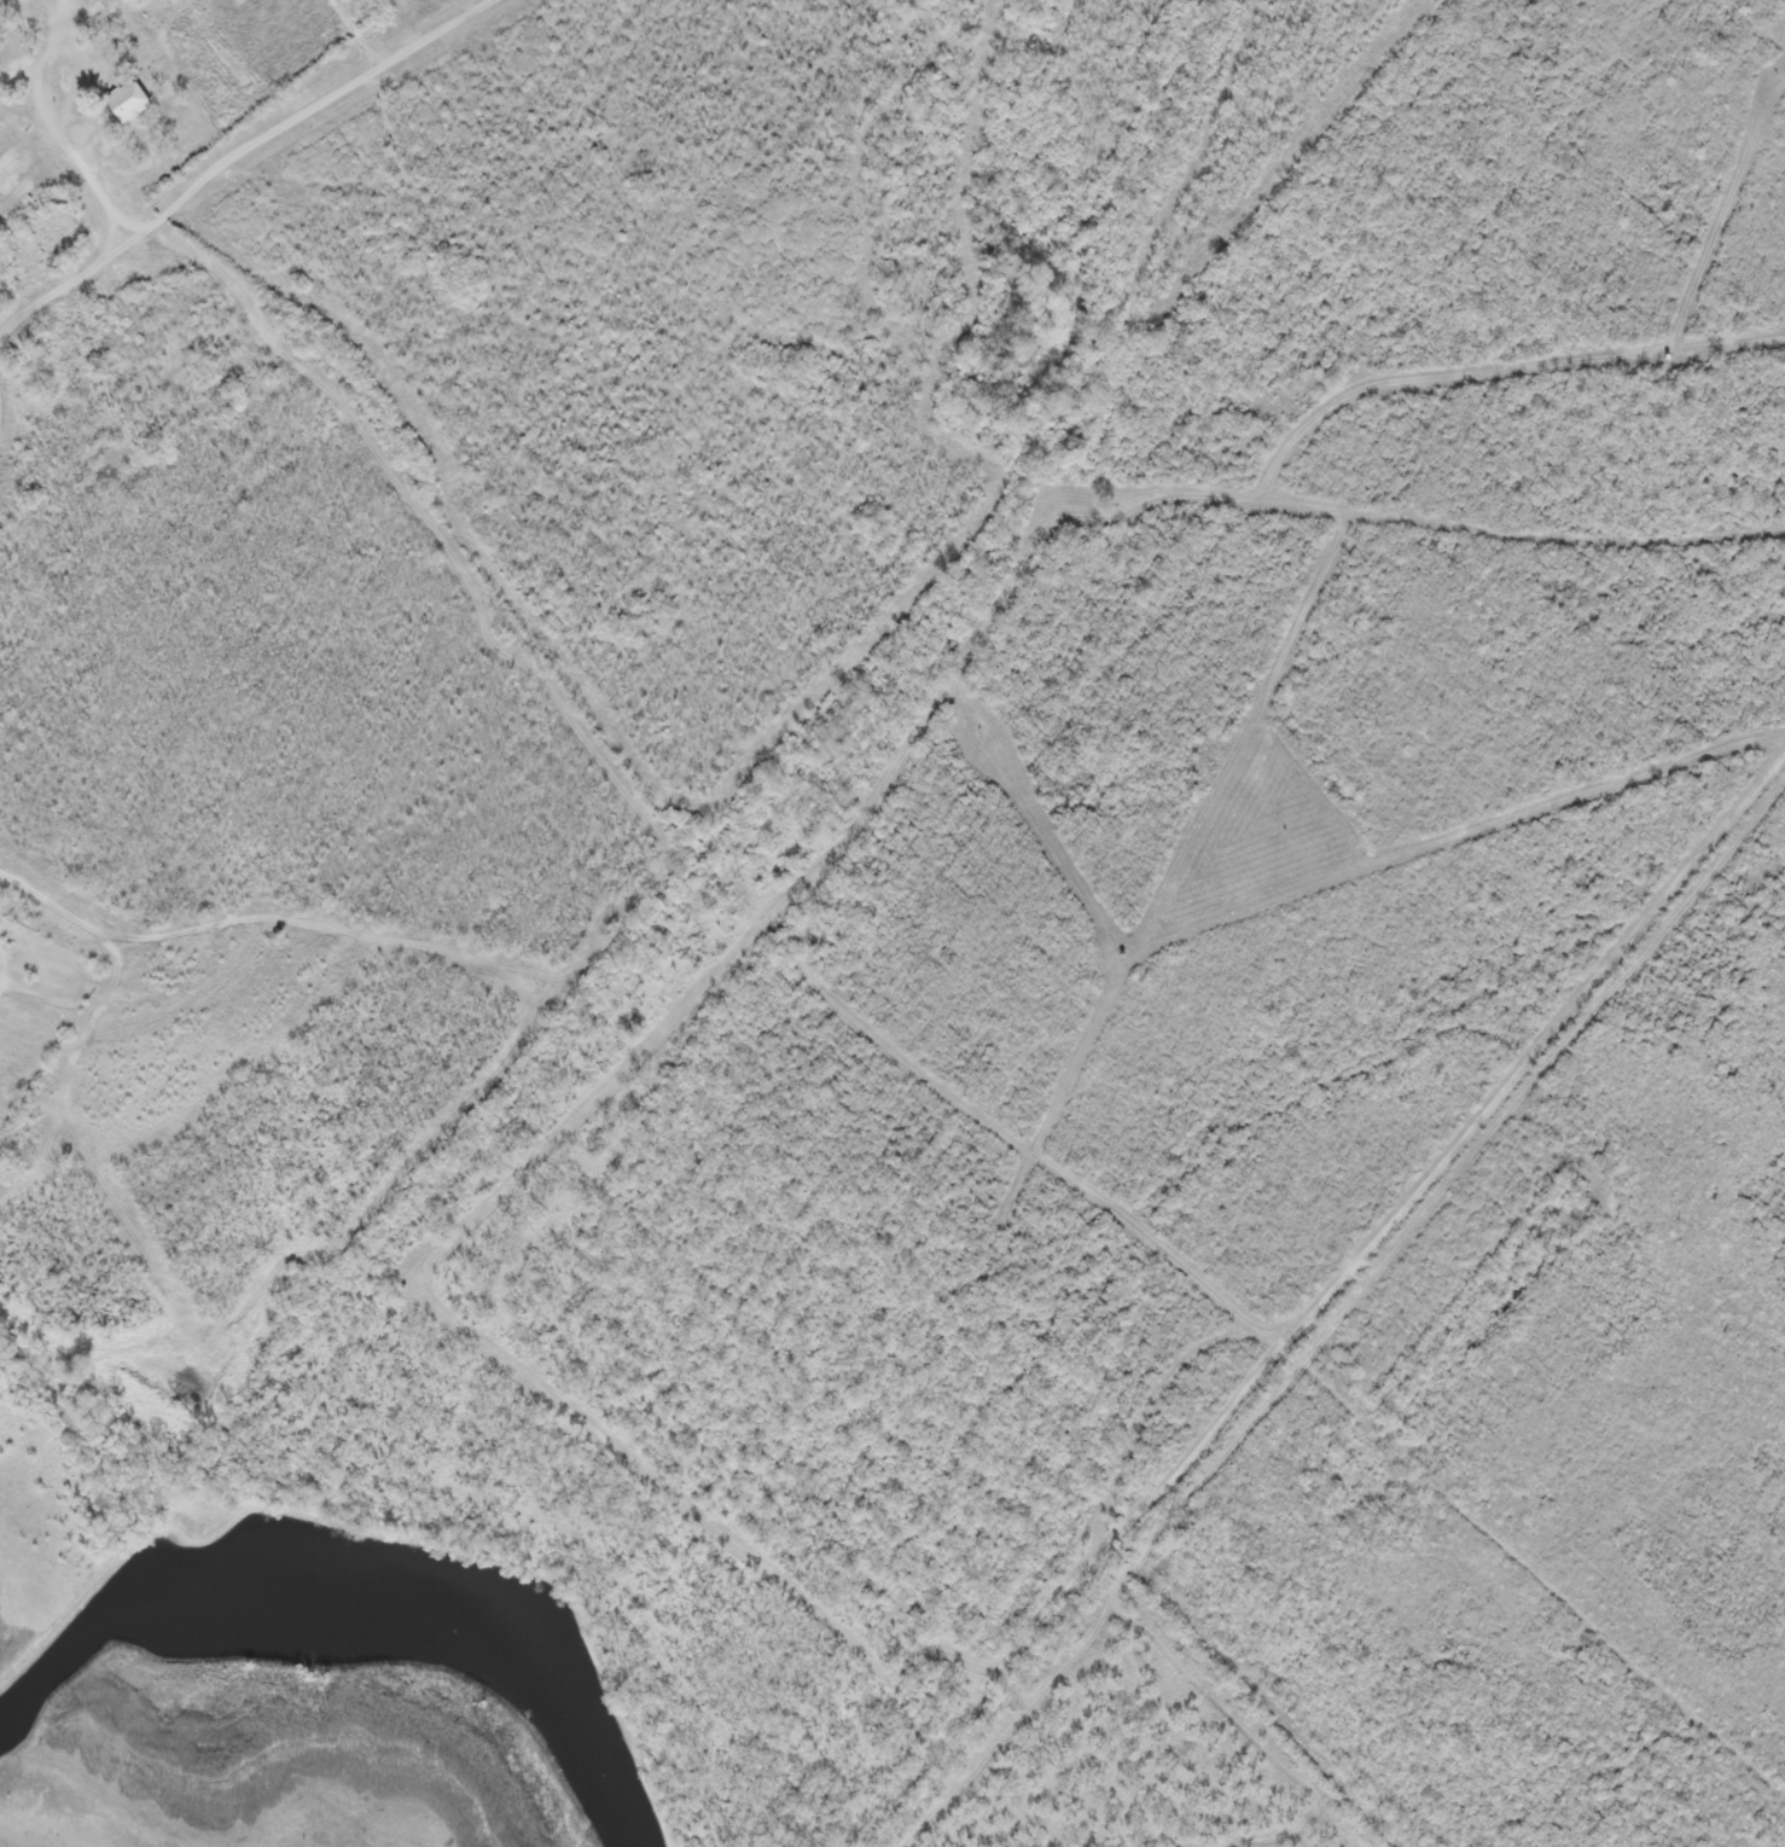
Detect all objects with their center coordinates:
building: (124, 99)
road: (252, 152)
building: (60, 231)
road: (1552, 1050)

